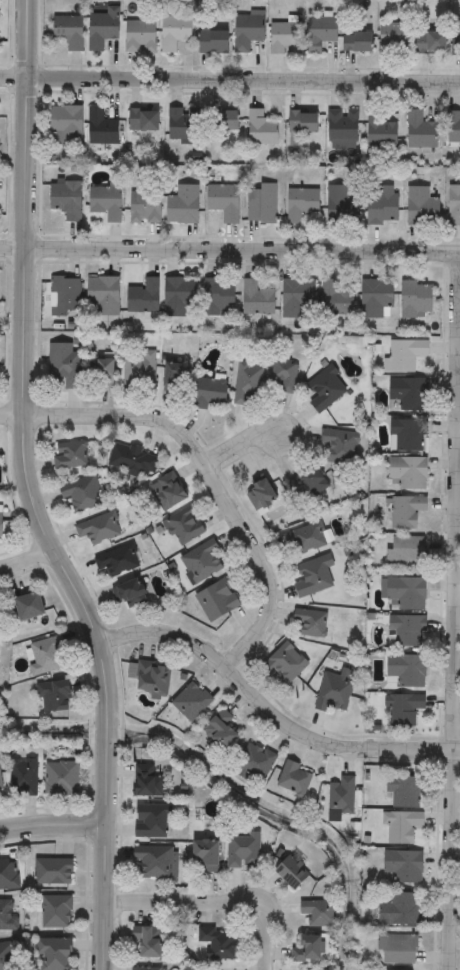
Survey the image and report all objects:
building: (102, 27)
building: (247, 29)
building: (68, 31)
building: (174, 31)
building: (319, 32)
building: (139, 36)
building: (455, 37)
building: (284, 38)
building: (393, 38)
building: (213, 39)
building: (357, 42)
building: (430, 42)
road: (229, 81)
building: (143, 120)
building: (222, 120)
building: (302, 122)
building: (182, 124)
building: (65, 125)
building: (453, 126)
building: (100, 128)
building: (260, 128)
building: (341, 128)
building: (419, 130)
building: (379, 131)
building: (66, 199)
building: (223, 201)
building: (105, 202)
building: (185, 203)
building: (261, 203)
building: (301, 203)
building: (343, 204)
building: (382, 205)
building: (453, 205)
building: (145, 207)
building: (421, 207)
road: (230, 245)
building: (180, 295)
building: (64, 296)
building: (103, 296)
building: (143, 296)
building: (375, 296)
building: (218, 297)
building: (256, 298)
building: (297, 298)
building: (335, 299)
building: (415, 299)
building: (405, 354)
building: (64, 364)
building: (138, 371)
building: (102, 373)
building: (282, 376)
building: (172, 377)
building: (246, 382)
building: (324, 388)
building: (208, 393)
building: (407, 393)
road: (459, 417)
building: (406, 434)
building: (338, 446)
road: (234, 448)
building: (69, 454)
building: (131, 459)
road: (203, 469)
building: (408, 471)
building: (309, 482)
building: (167, 490)
road: (31, 492)
building: (79, 492)
building: (260, 494)
building: (405, 510)
building: (1, 523)
building: (183, 524)
building: (97, 527)
building: (303, 539)
building: (405, 548)
road: (25, 555)
building: (115, 560)
building: (200, 560)
building: (312, 574)
road: (458, 587)
building: (128, 591)
building: (402, 591)
building: (216, 599)
building: (29, 605)
building: (308, 622)
building: (405, 630)
road: (456, 635)
building: (47, 655)
building: (282, 663)
building: (406, 668)
building: (151, 679)
building: (333, 692)
building: (56, 695)
building: (191, 701)
road: (271, 706)
building: (402, 707)
building: (220, 731)
building: (255, 762)
building: (24, 776)
building: (62, 777)
building: (292, 779)
building: (149, 780)
building: (1, 781)
building: (403, 792)
building: (340, 795)
road: (52, 820)
building: (153, 820)
building: (402, 826)
building: (243, 851)
building: (208, 853)
building: (156, 861)
building: (403, 865)
building: (52, 871)
building: (290, 873)
building: (8, 874)
road: (216, 898)
building: (398, 909)
building: (55, 911)
building: (317, 912)
building: (8, 915)
building: (148, 940)
building: (220, 942)
building: (396, 949)
building: (306, 950)
building: (52, 954)
building: (5, 956)
building: (145, 969)

